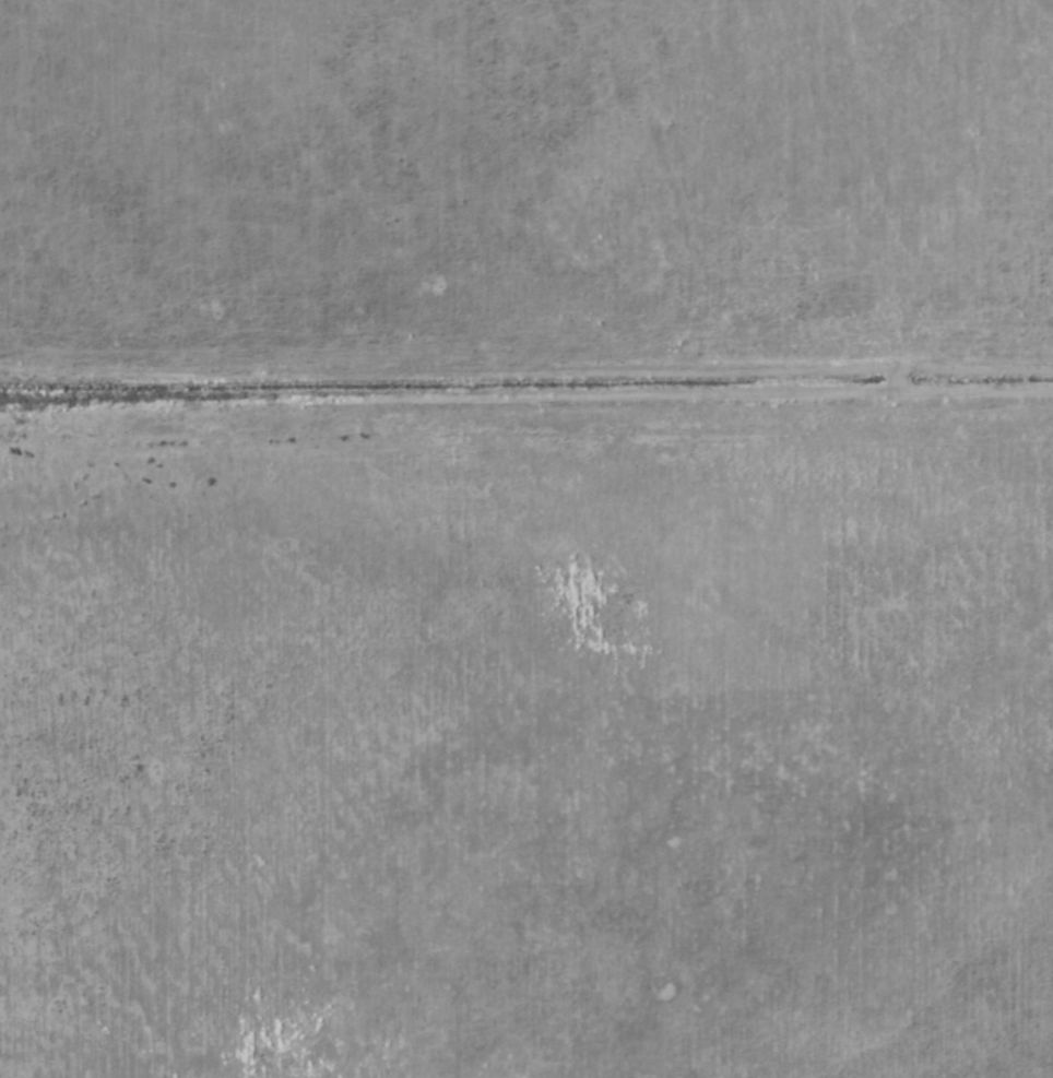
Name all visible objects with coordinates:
road: (595, 293)

